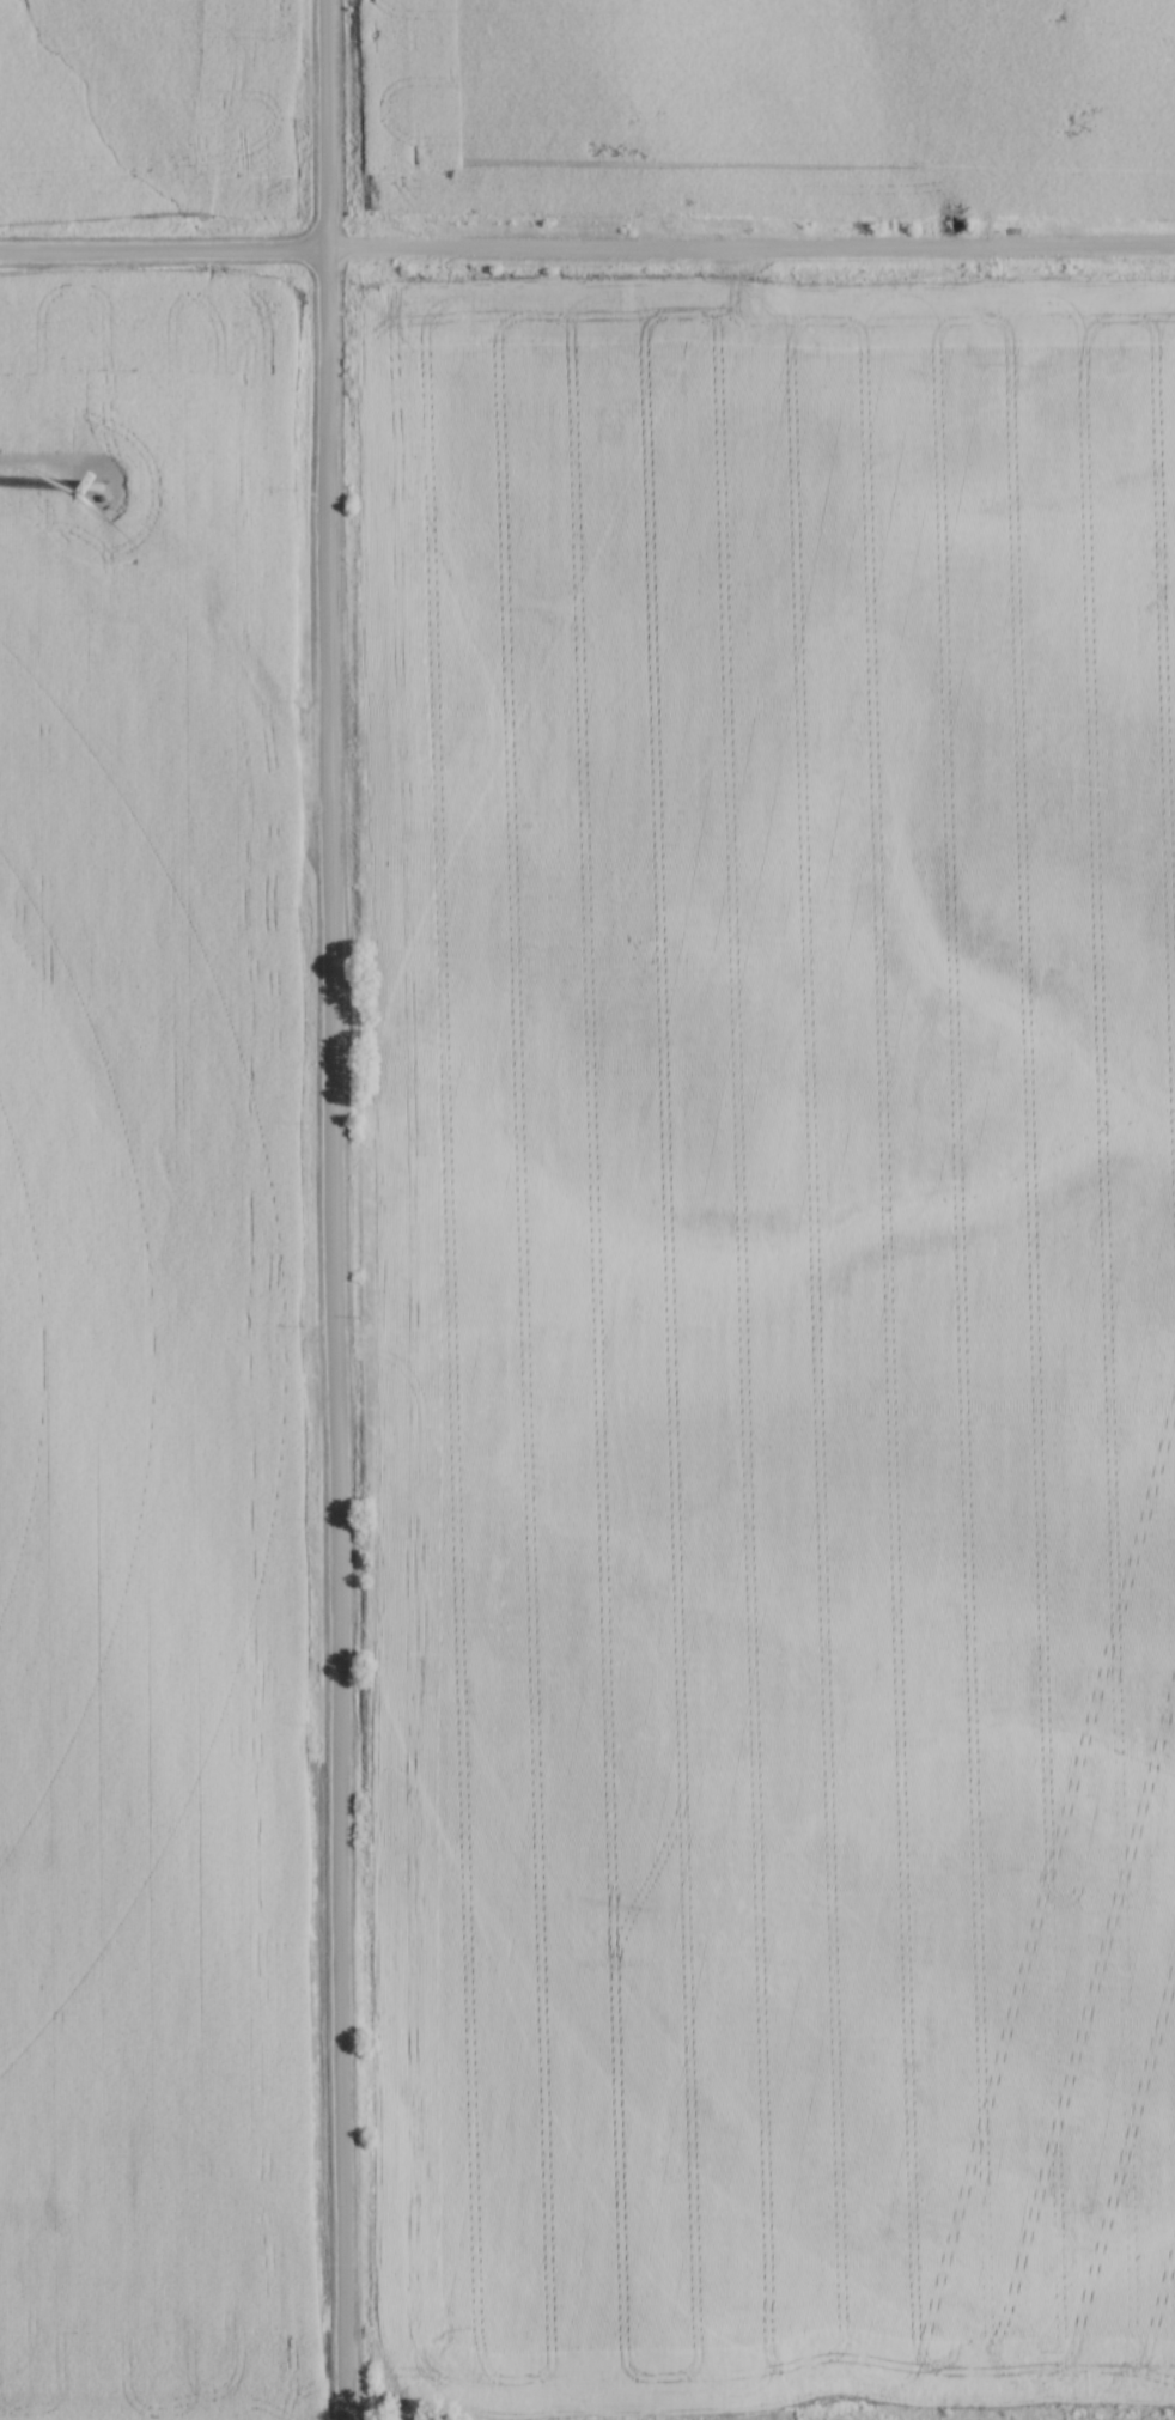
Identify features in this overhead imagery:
road: (586, 256)
wind turbine: (101, 486)
road: (333, 1209)

